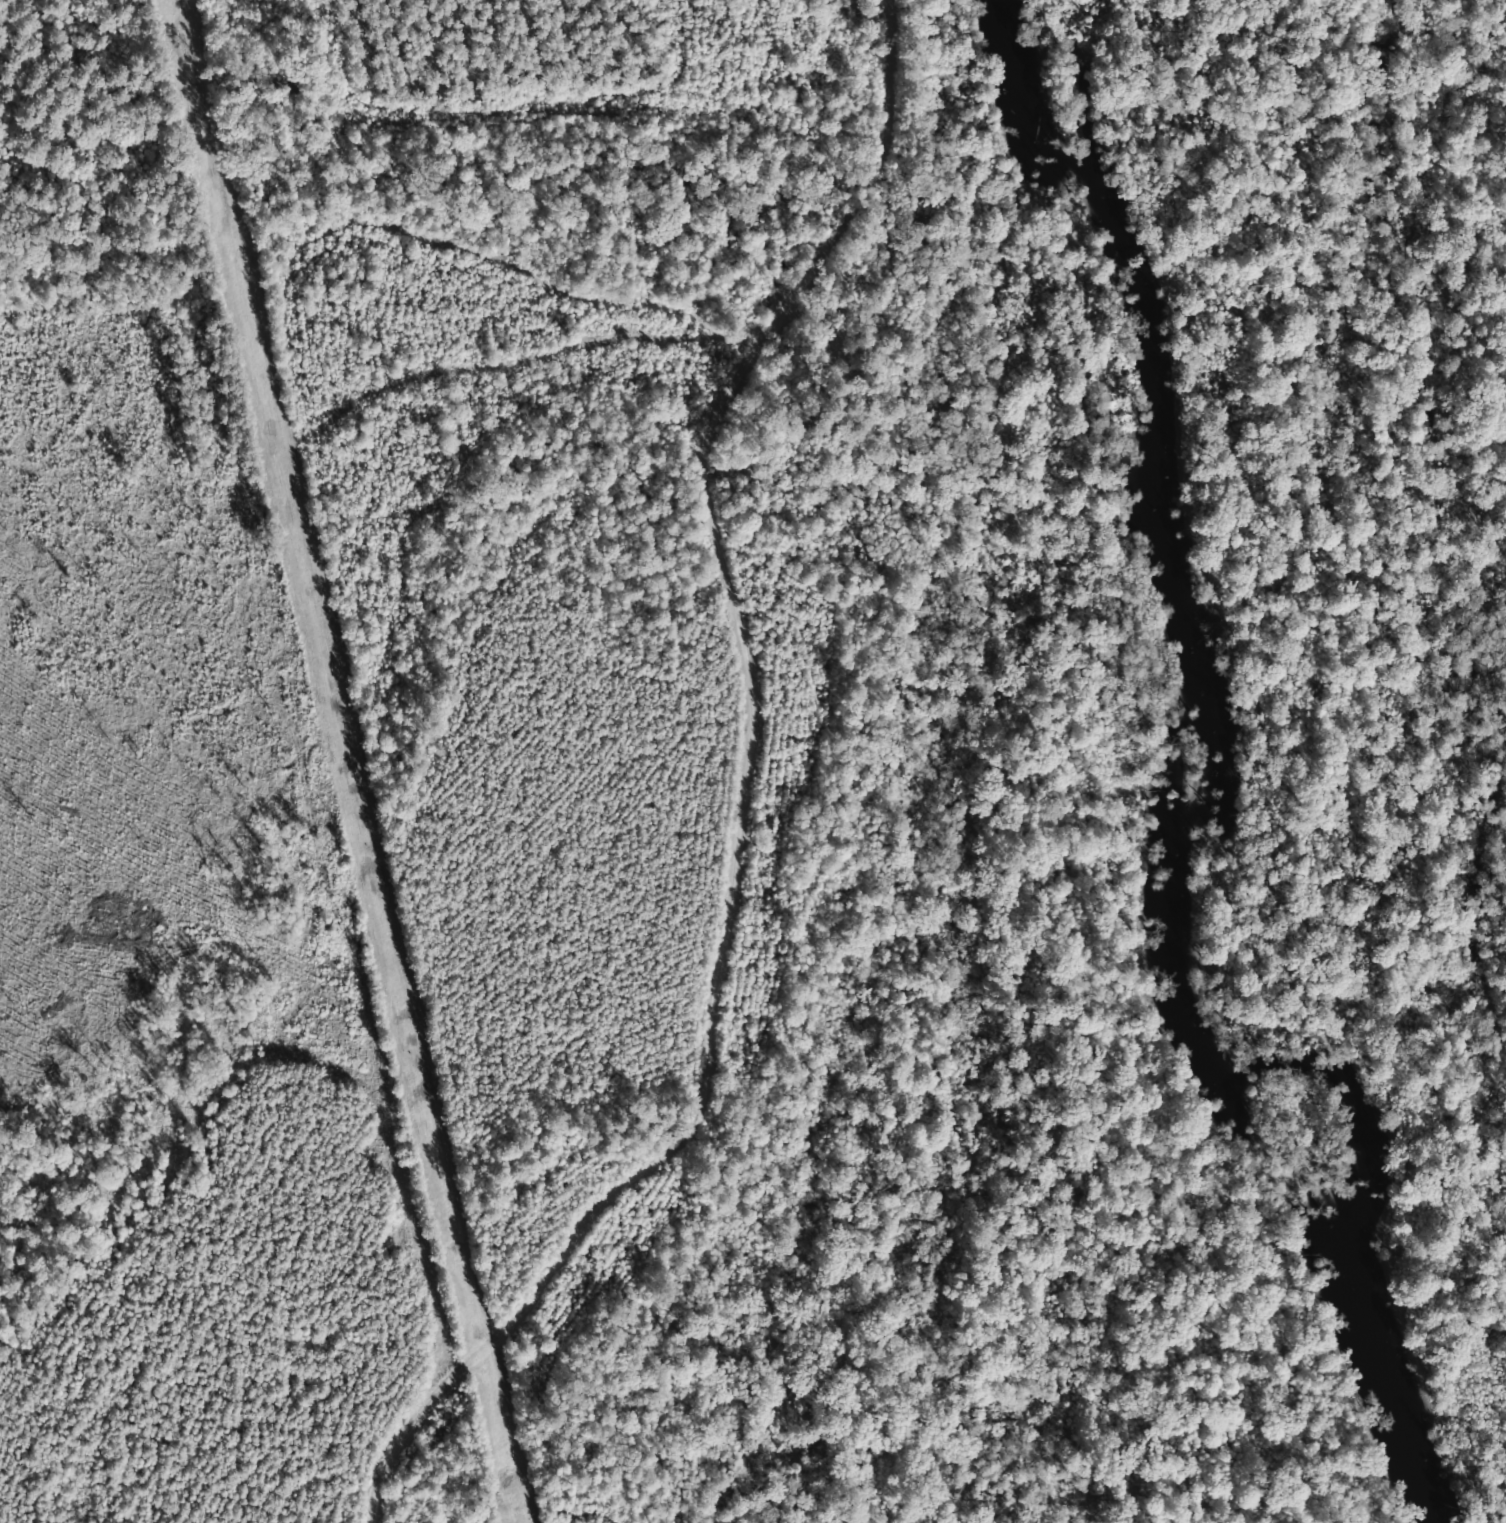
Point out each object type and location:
road: (713, 796)

